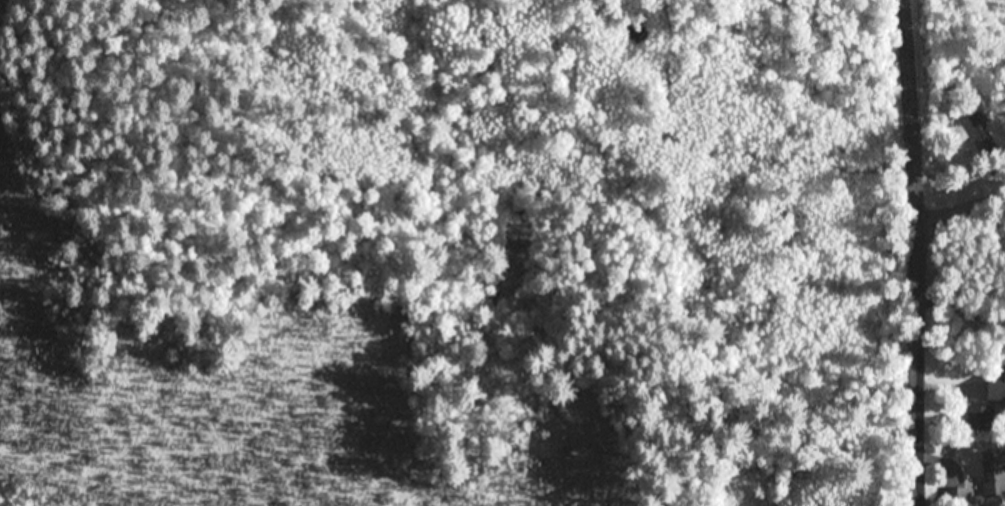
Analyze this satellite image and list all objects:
building: (984, 131)
road: (963, 207)
road: (921, 252)
building: (996, 385)
building: (982, 414)
building: (993, 475)

